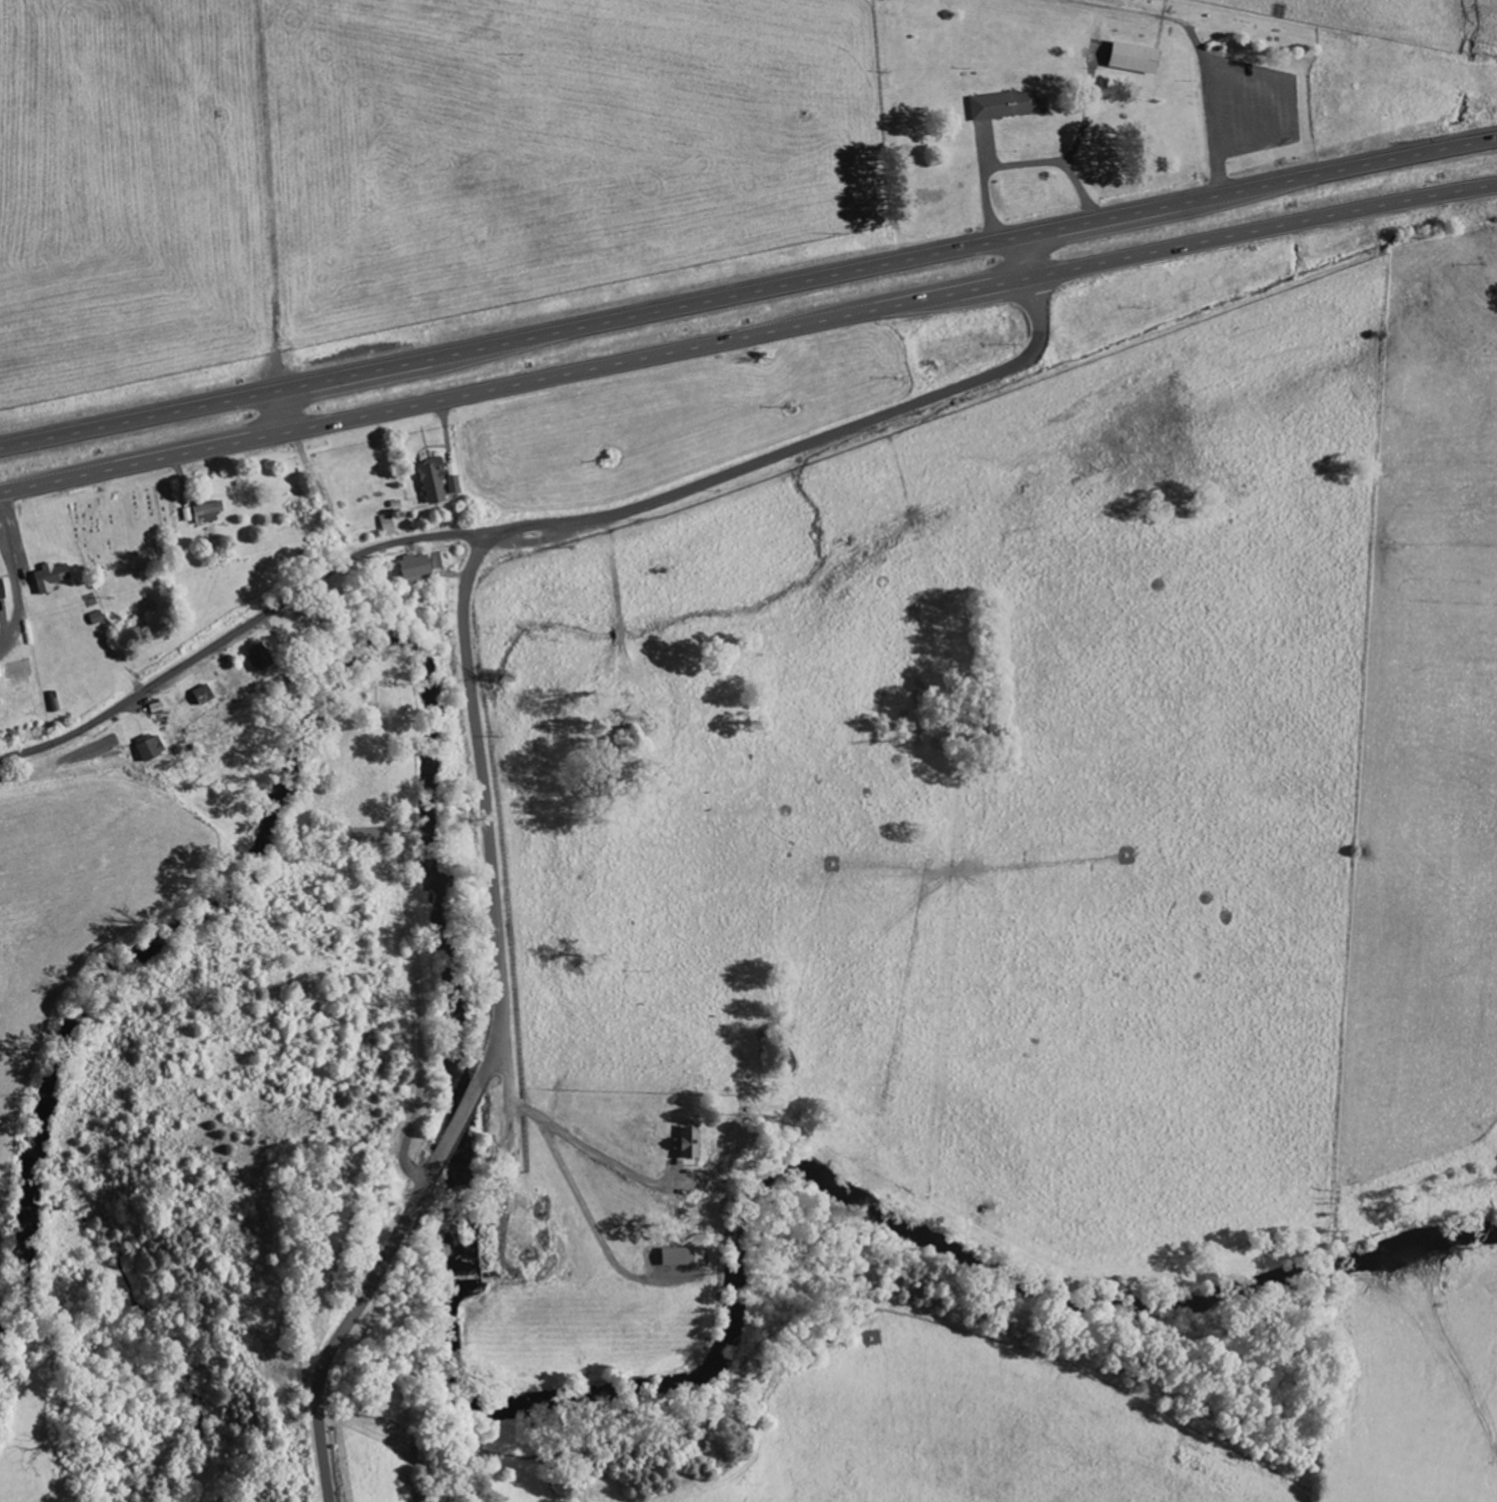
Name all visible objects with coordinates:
road: (1118, 10)
road: (1210, 102)
parking lot: (1250, 104)
road: (269, 195)
road: (748, 293)
road: (748, 336)
road: (278, 412)
road: (562, 523)
road: (416, 982)
road: (498, 1035)
road: (558, 1130)

